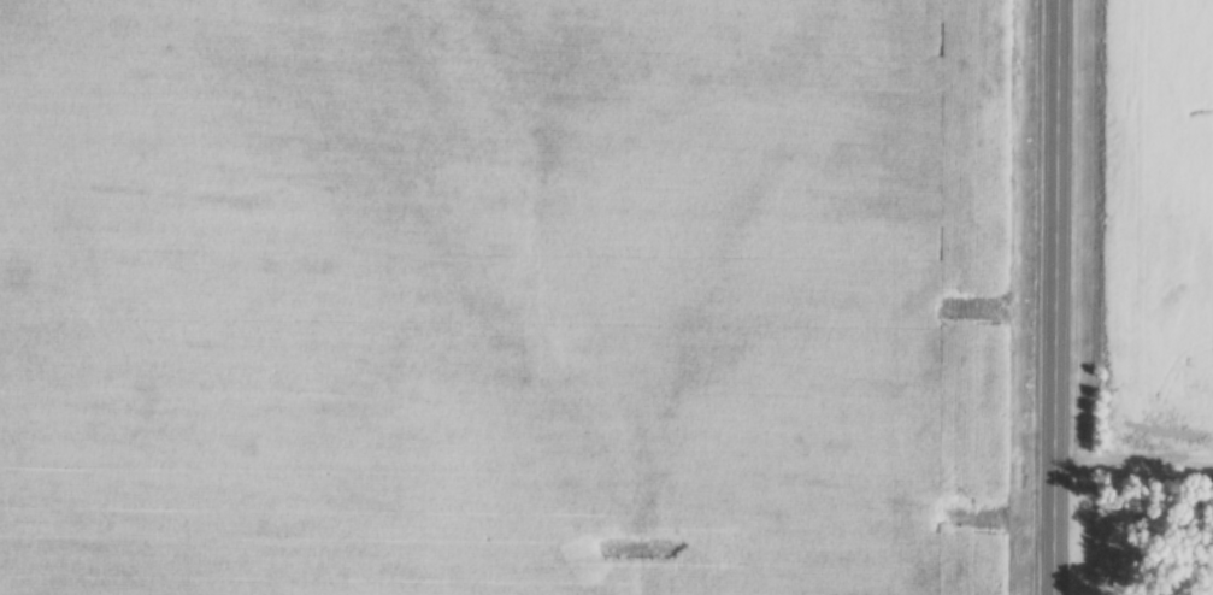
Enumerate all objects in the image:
road: (1055, 297)

